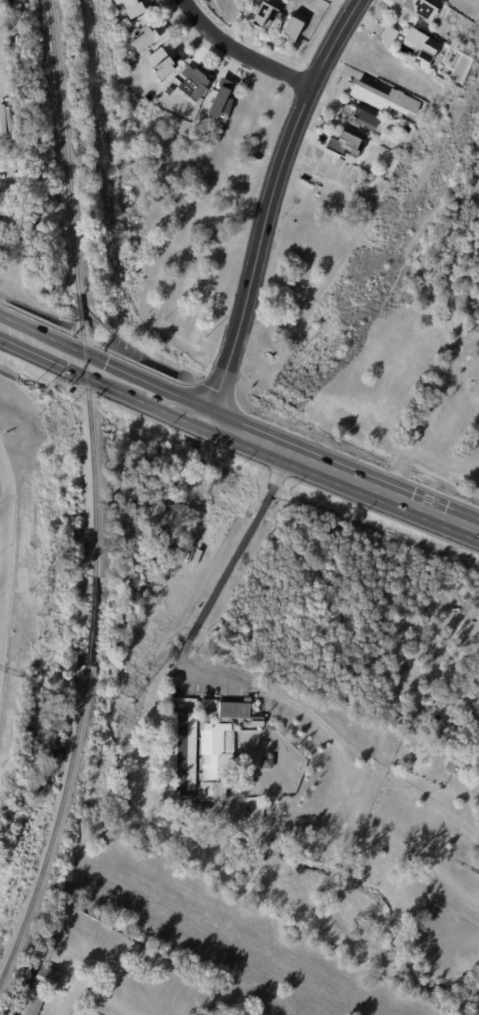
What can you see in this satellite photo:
building: (128, 7)
building: (418, 9)
building: (260, 13)
building: (292, 29)
building: (389, 35)
building: (141, 40)
building: (418, 43)
road: (244, 50)
building: (128, 59)
road: (348, 68)
building: (163, 69)
building: (193, 82)
building: (219, 99)
building: (385, 100)
road: (320, 112)
building: (358, 117)
building: (341, 143)
road: (315, 154)
road: (320, 165)
parking lot: (340, 171)
road: (270, 201)
railway: (81, 282)
road: (70, 354)
road: (175, 400)
road: (345, 466)
road: (4, 521)
road: (7, 531)
wastewater plant: (21, 533)
road: (0, 598)
railway: (93, 615)
road: (218, 676)
power tower: (131, 688)
building: (205, 749)
building: (266, 762)
building: (185, 795)
railway: (56, 826)
building: (46, 979)
building: (34, 1005)
road: (478, 1014)

